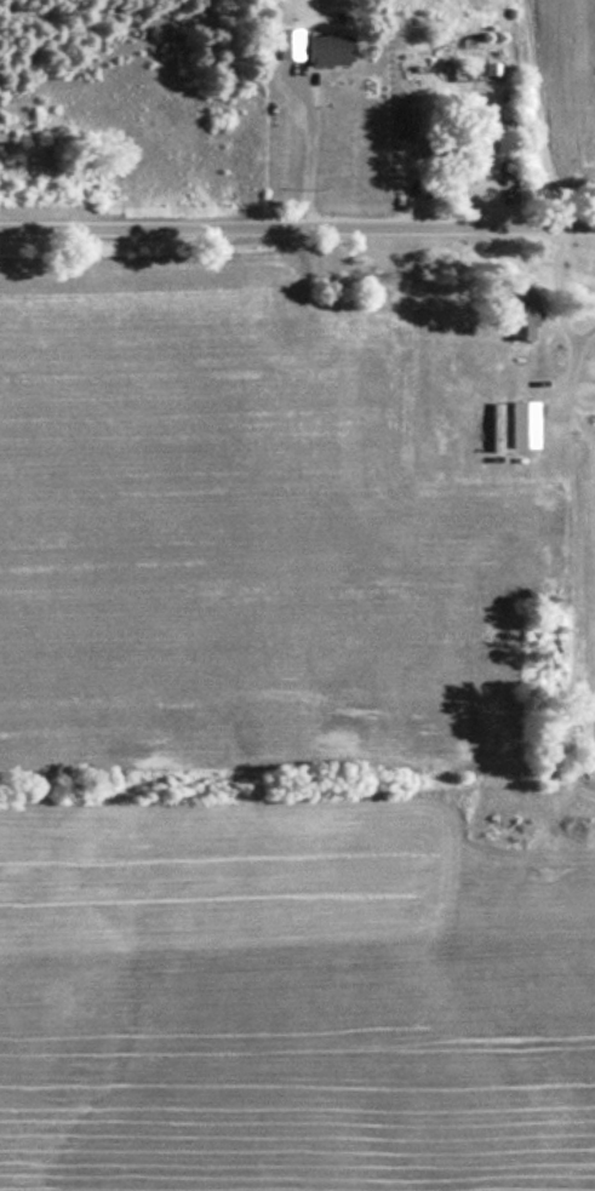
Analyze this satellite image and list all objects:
building: (322, 51)
building: (401, 124)
road: (297, 230)
building: (514, 316)
building: (519, 423)
building: (492, 426)

